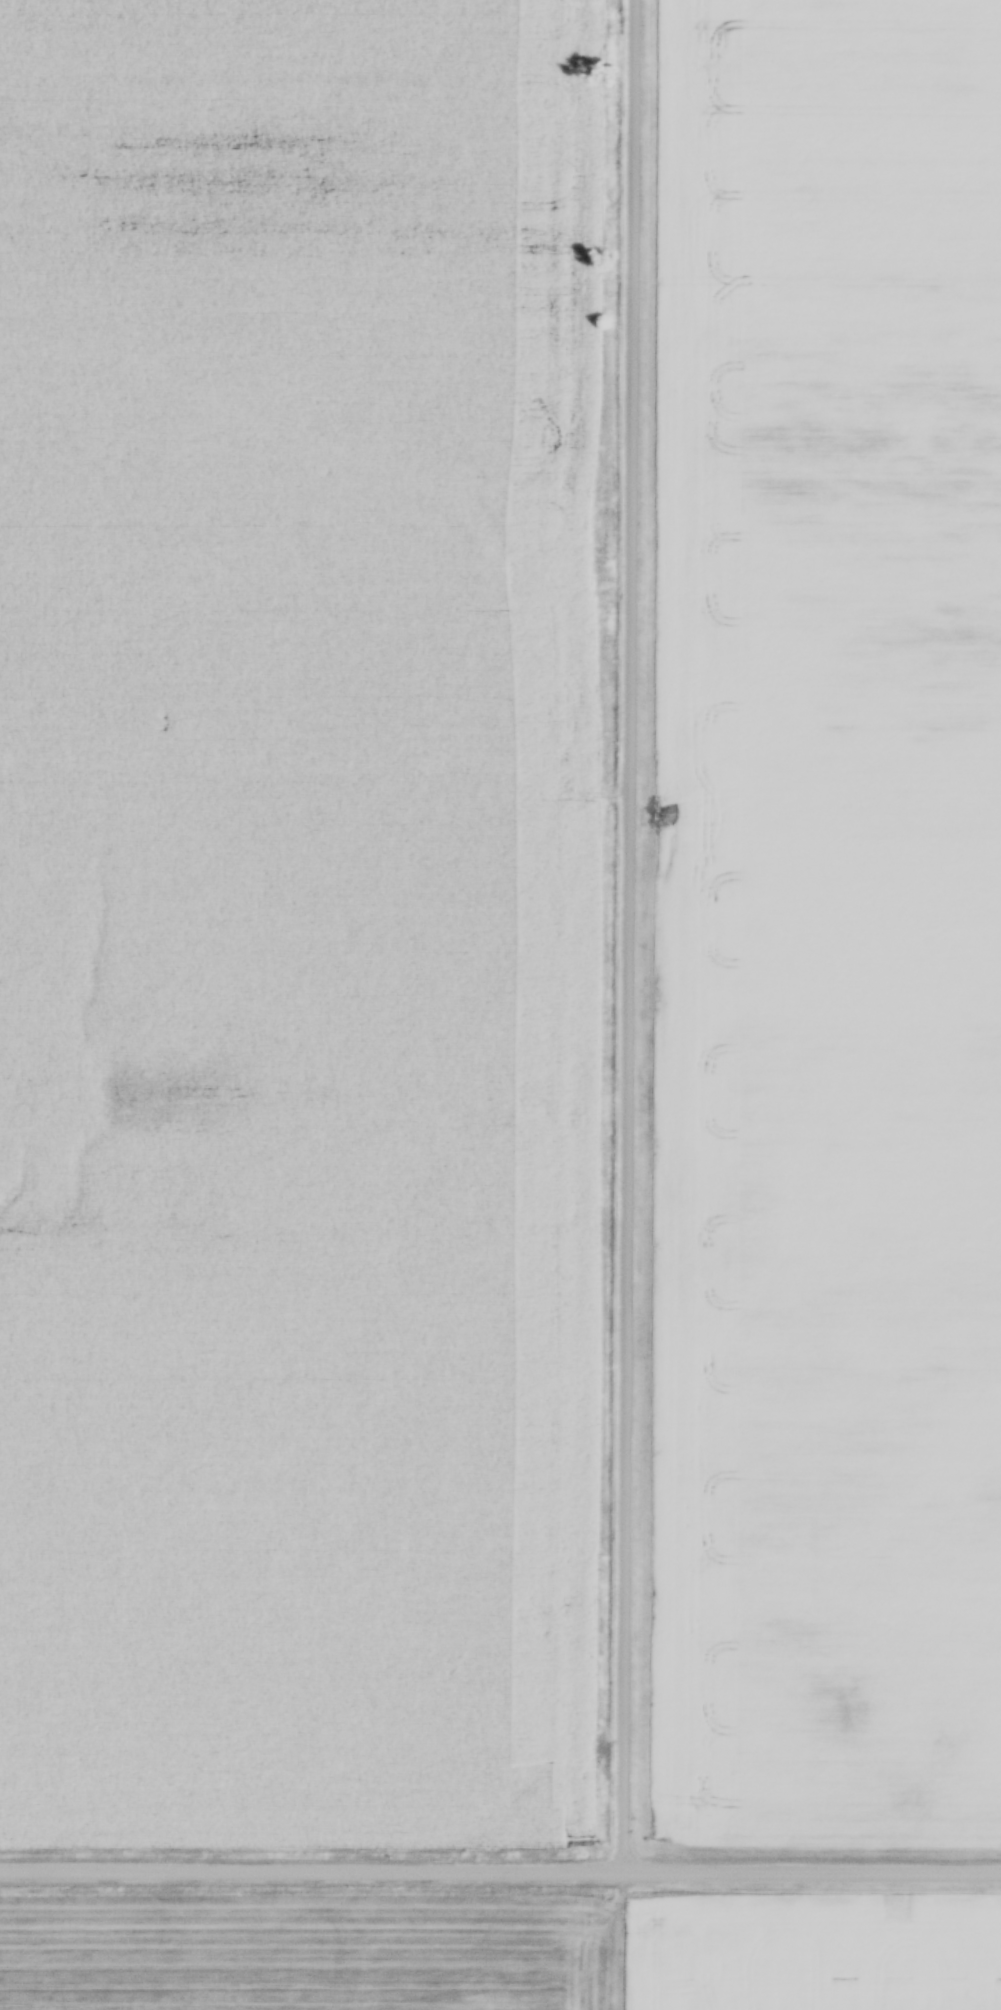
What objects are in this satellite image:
road: (631, 938)
road: (500, 1875)

